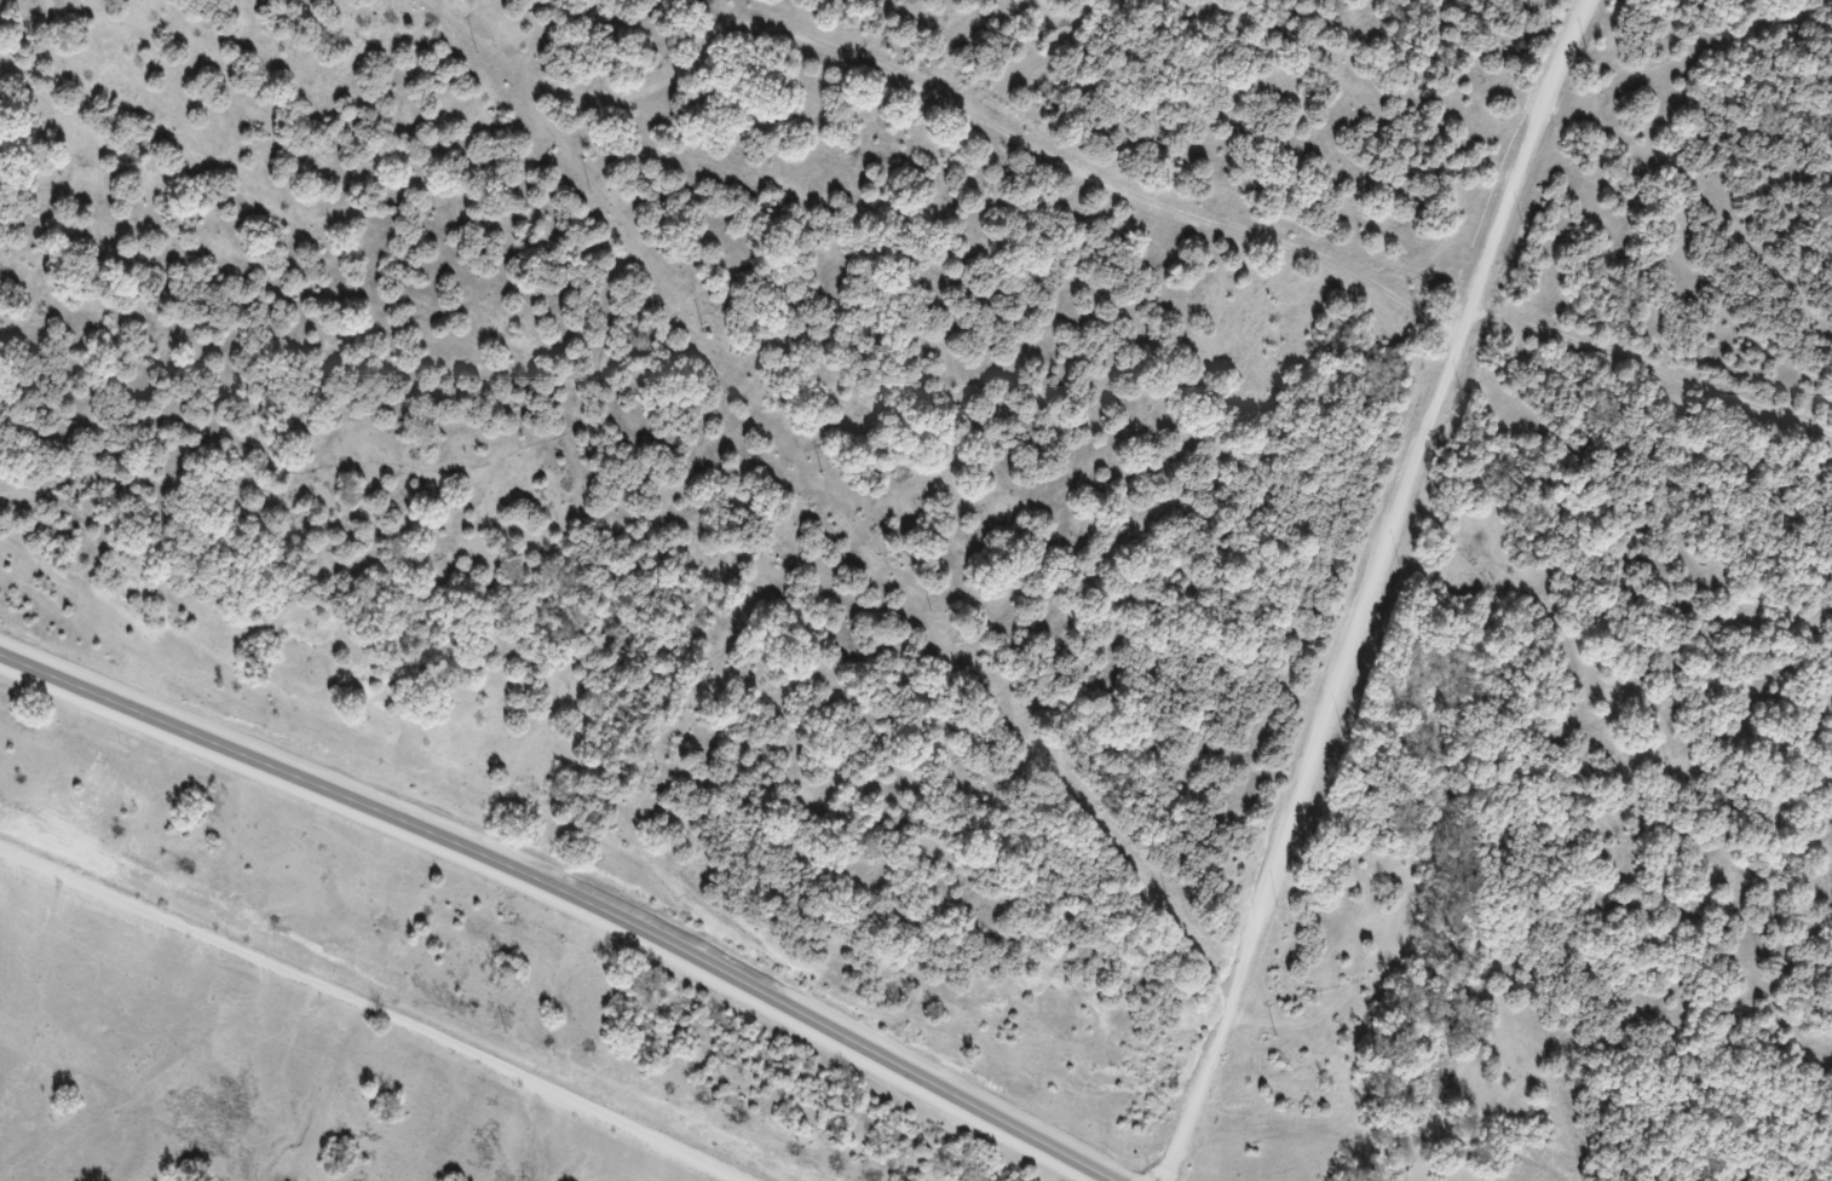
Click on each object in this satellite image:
park: (1006, 520)
road: (1366, 587)
road: (569, 889)
road: (380, 1007)

